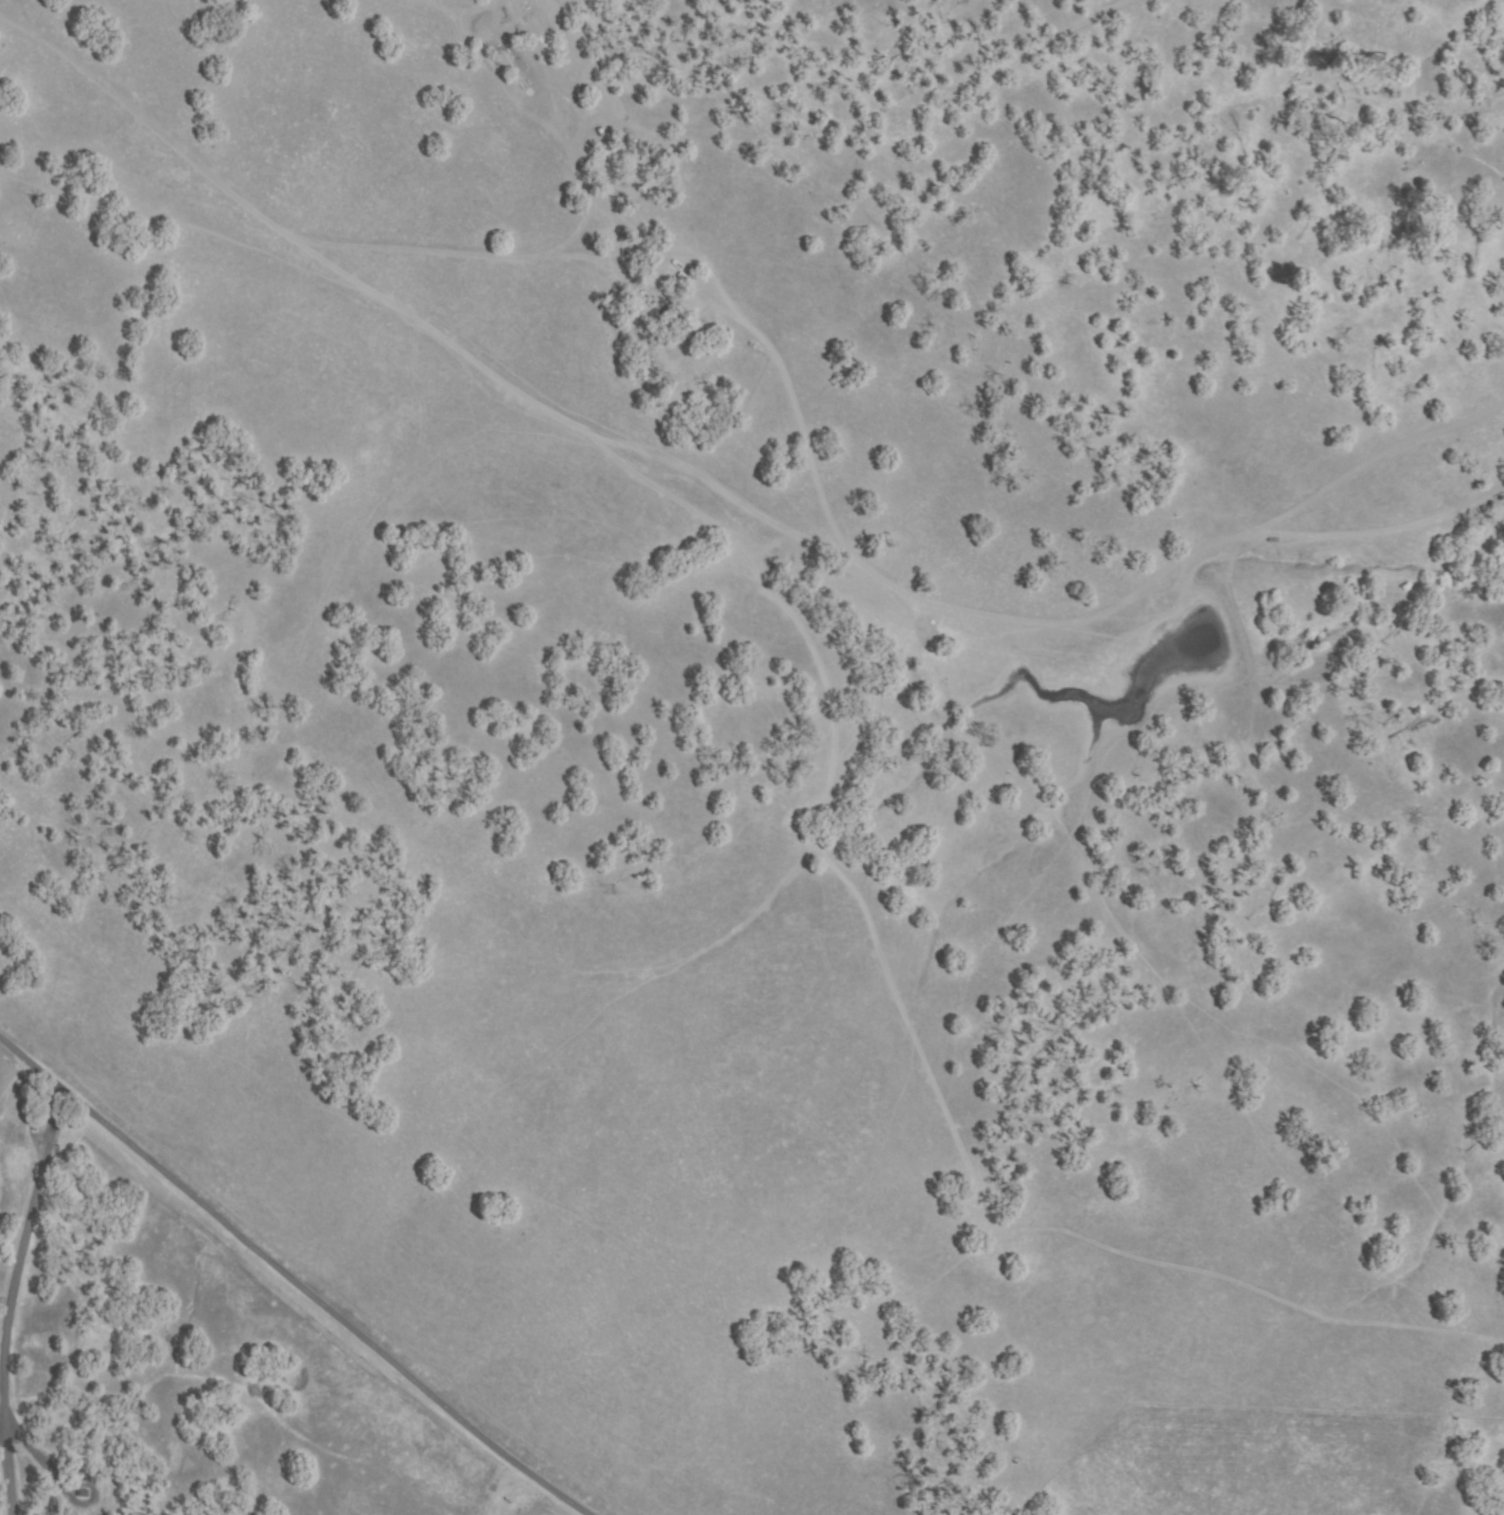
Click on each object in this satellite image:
building: (680, 323)
road: (299, 1273)
building: (84, 1493)

